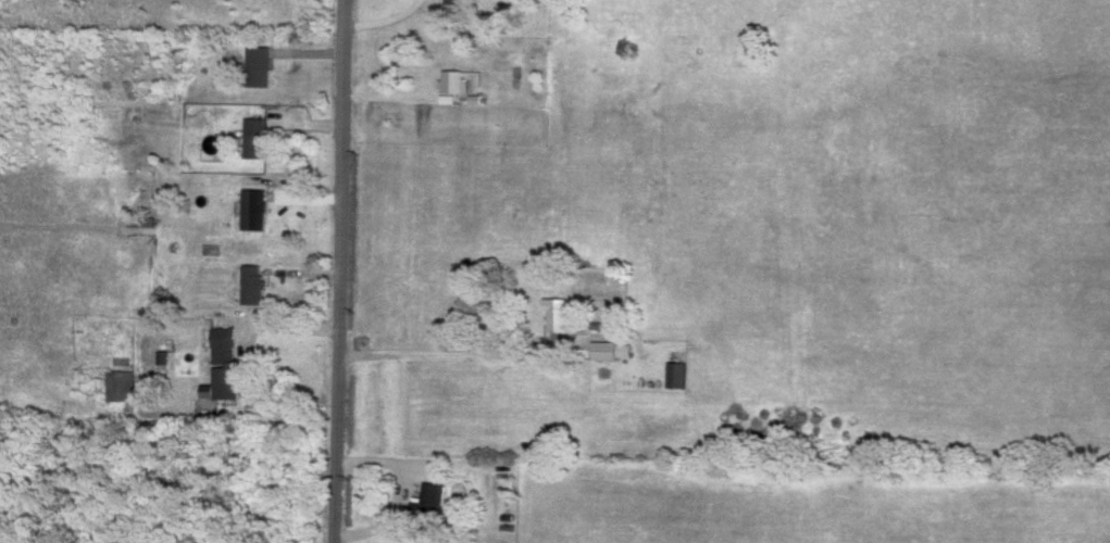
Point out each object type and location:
building: (454, 1)
building: (260, 65)
building: (453, 80)
building: (258, 136)
building: (255, 207)
railway: (324, 271)
road: (338, 271)
building: (254, 282)
building: (560, 315)
building: (604, 349)
building: (624, 349)
road: (462, 357)
building: (226, 365)
building: (676, 374)
building: (124, 384)
building: (434, 502)

